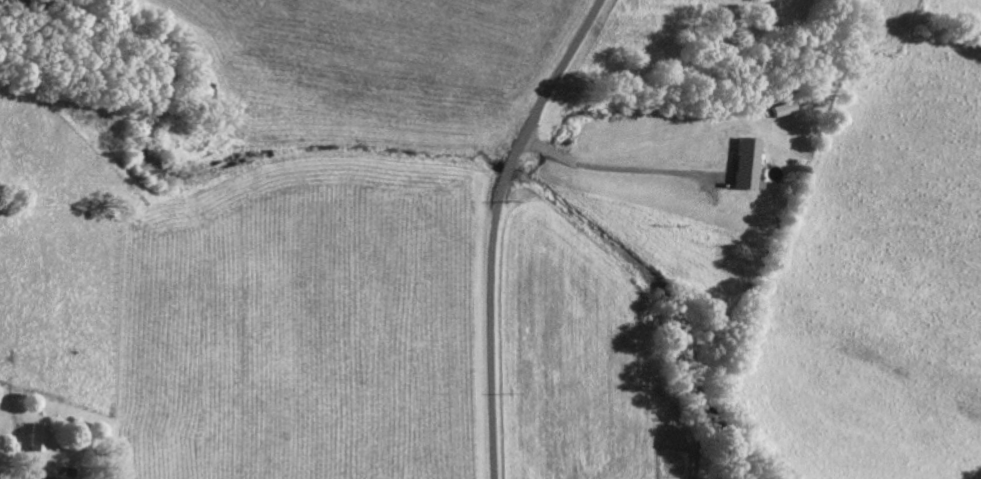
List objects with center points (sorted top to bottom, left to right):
building: (787, 110)
building: (749, 164)
road: (619, 167)
road: (495, 226)
building: (37, 438)
building: (53, 473)

